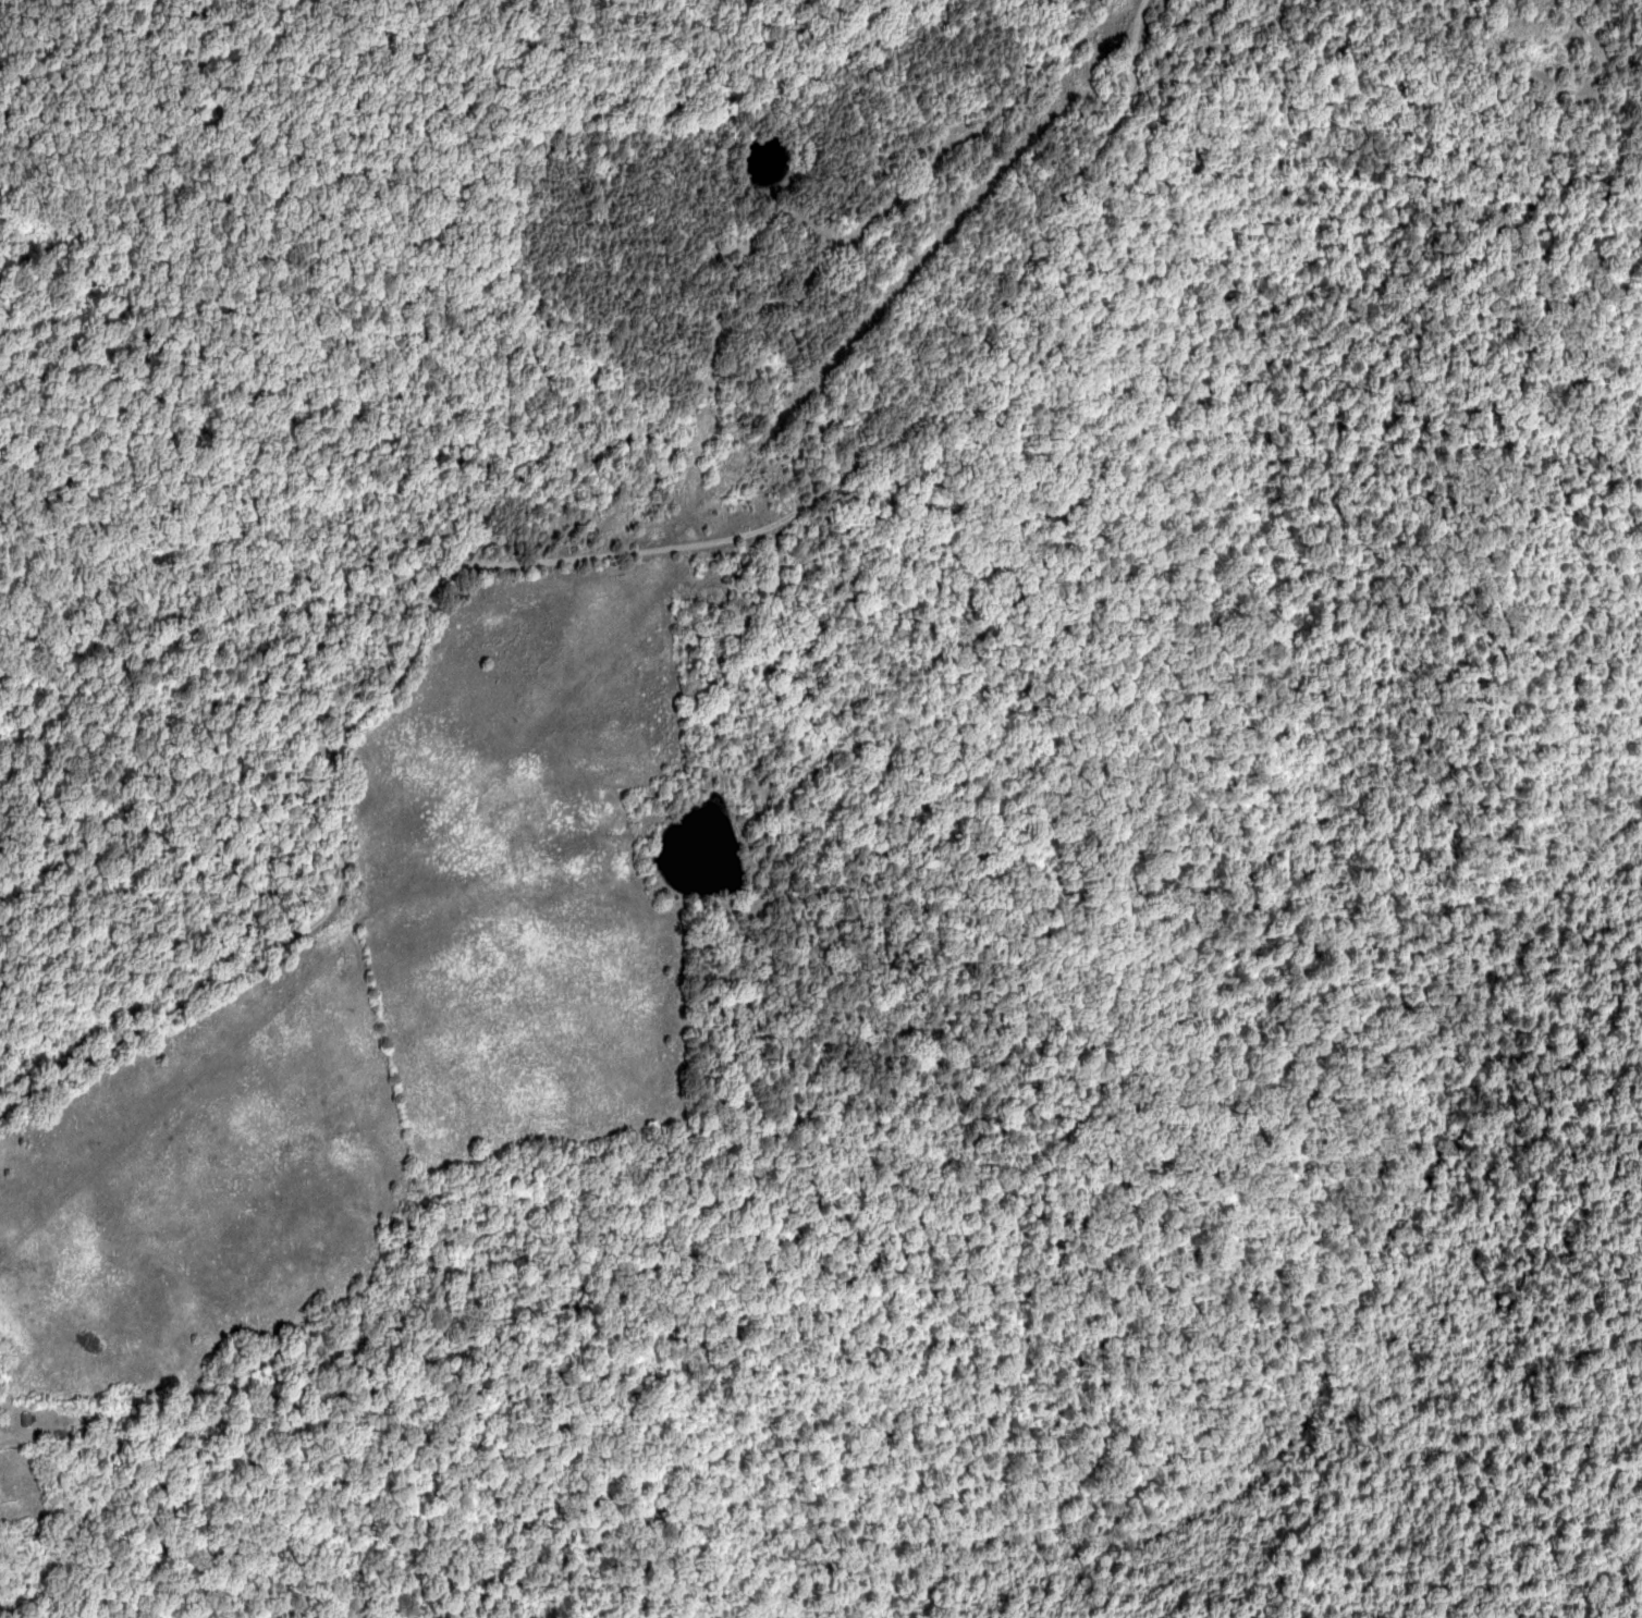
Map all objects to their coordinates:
road: (561, 557)

